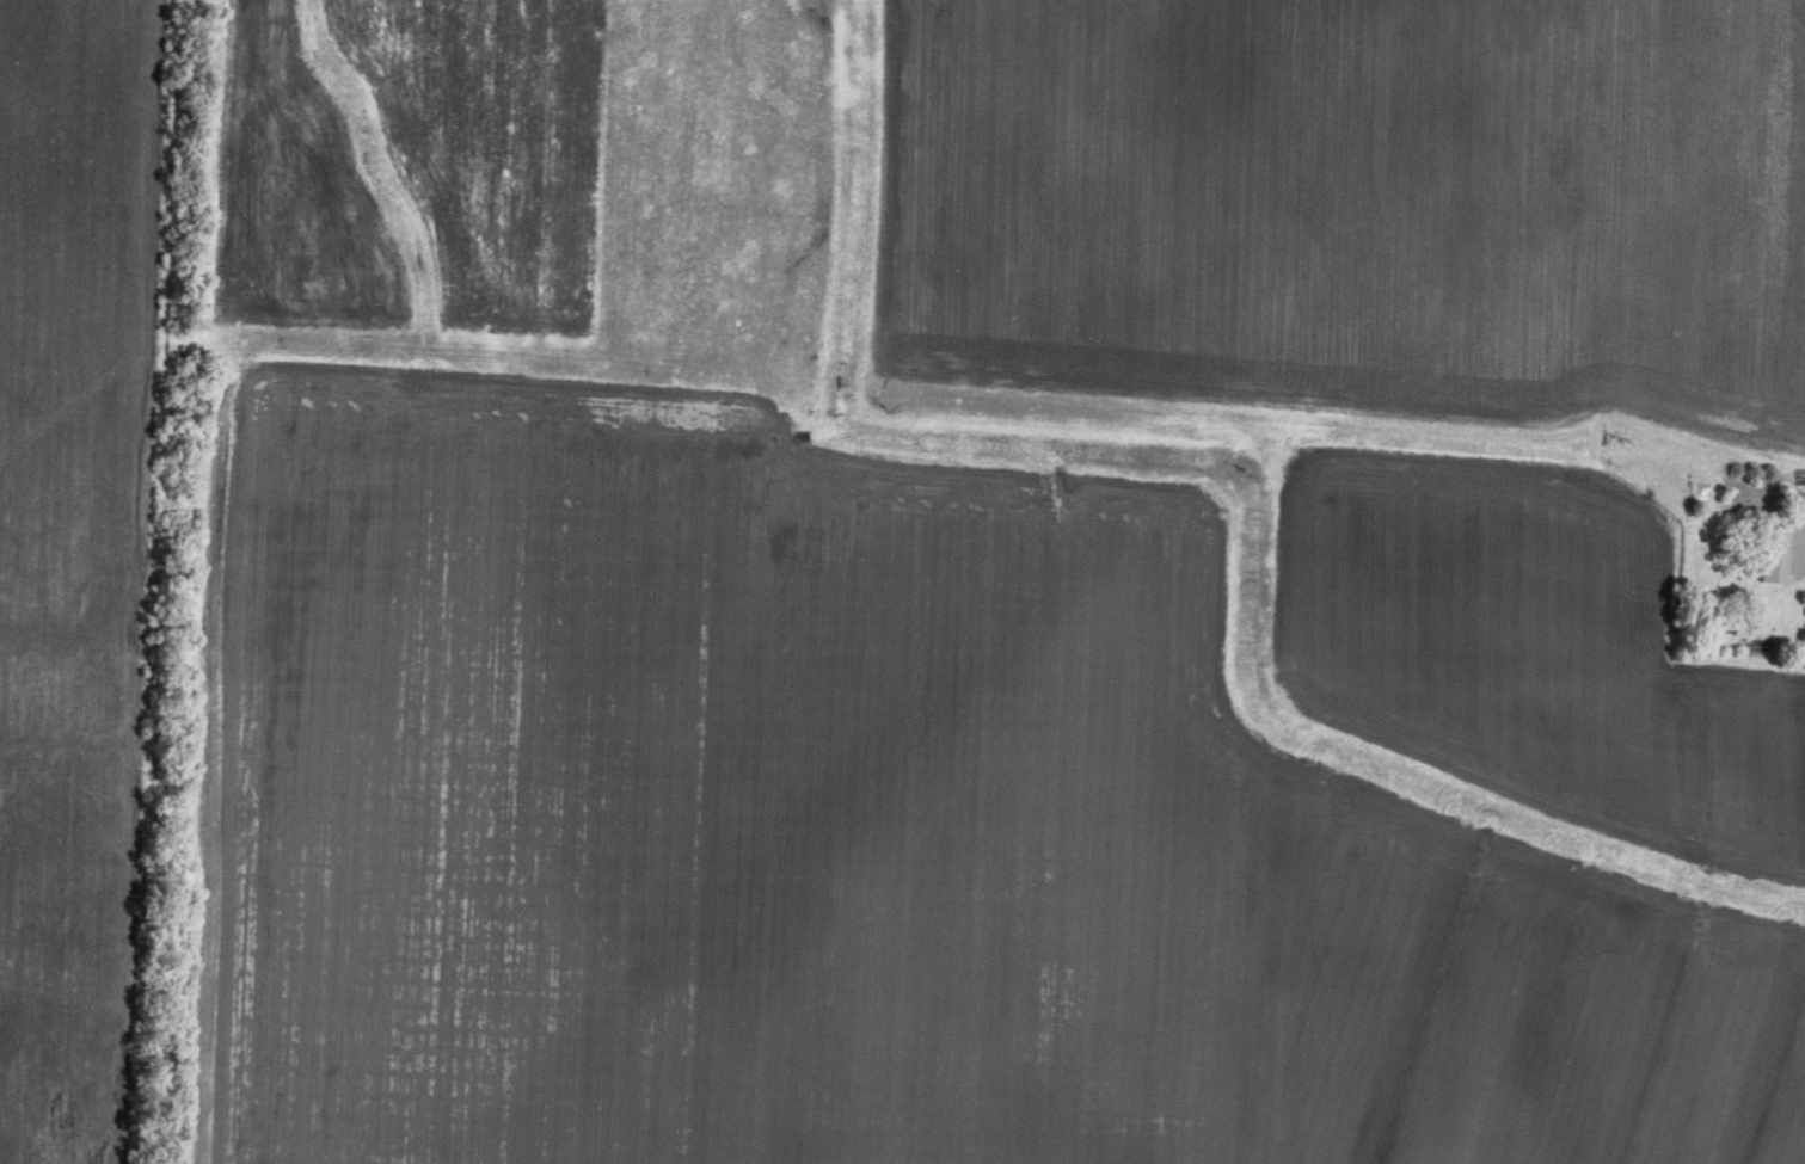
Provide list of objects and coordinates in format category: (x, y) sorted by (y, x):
building: (1797, 504)
road: (1799, 534)
building: (1760, 646)

